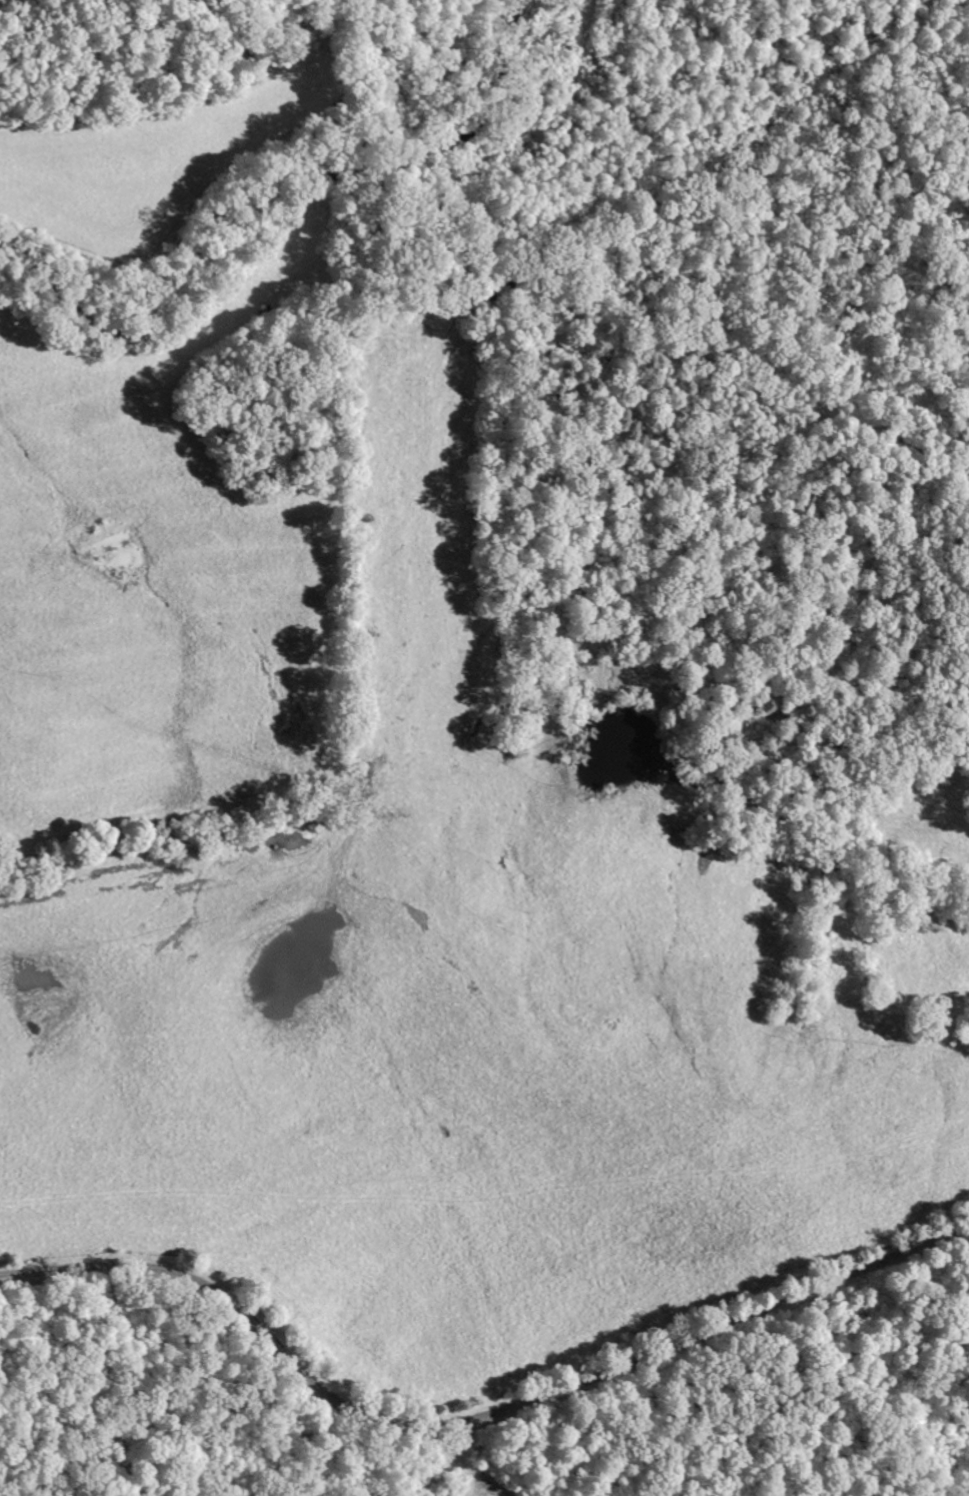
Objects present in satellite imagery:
road: (475, 1415)

